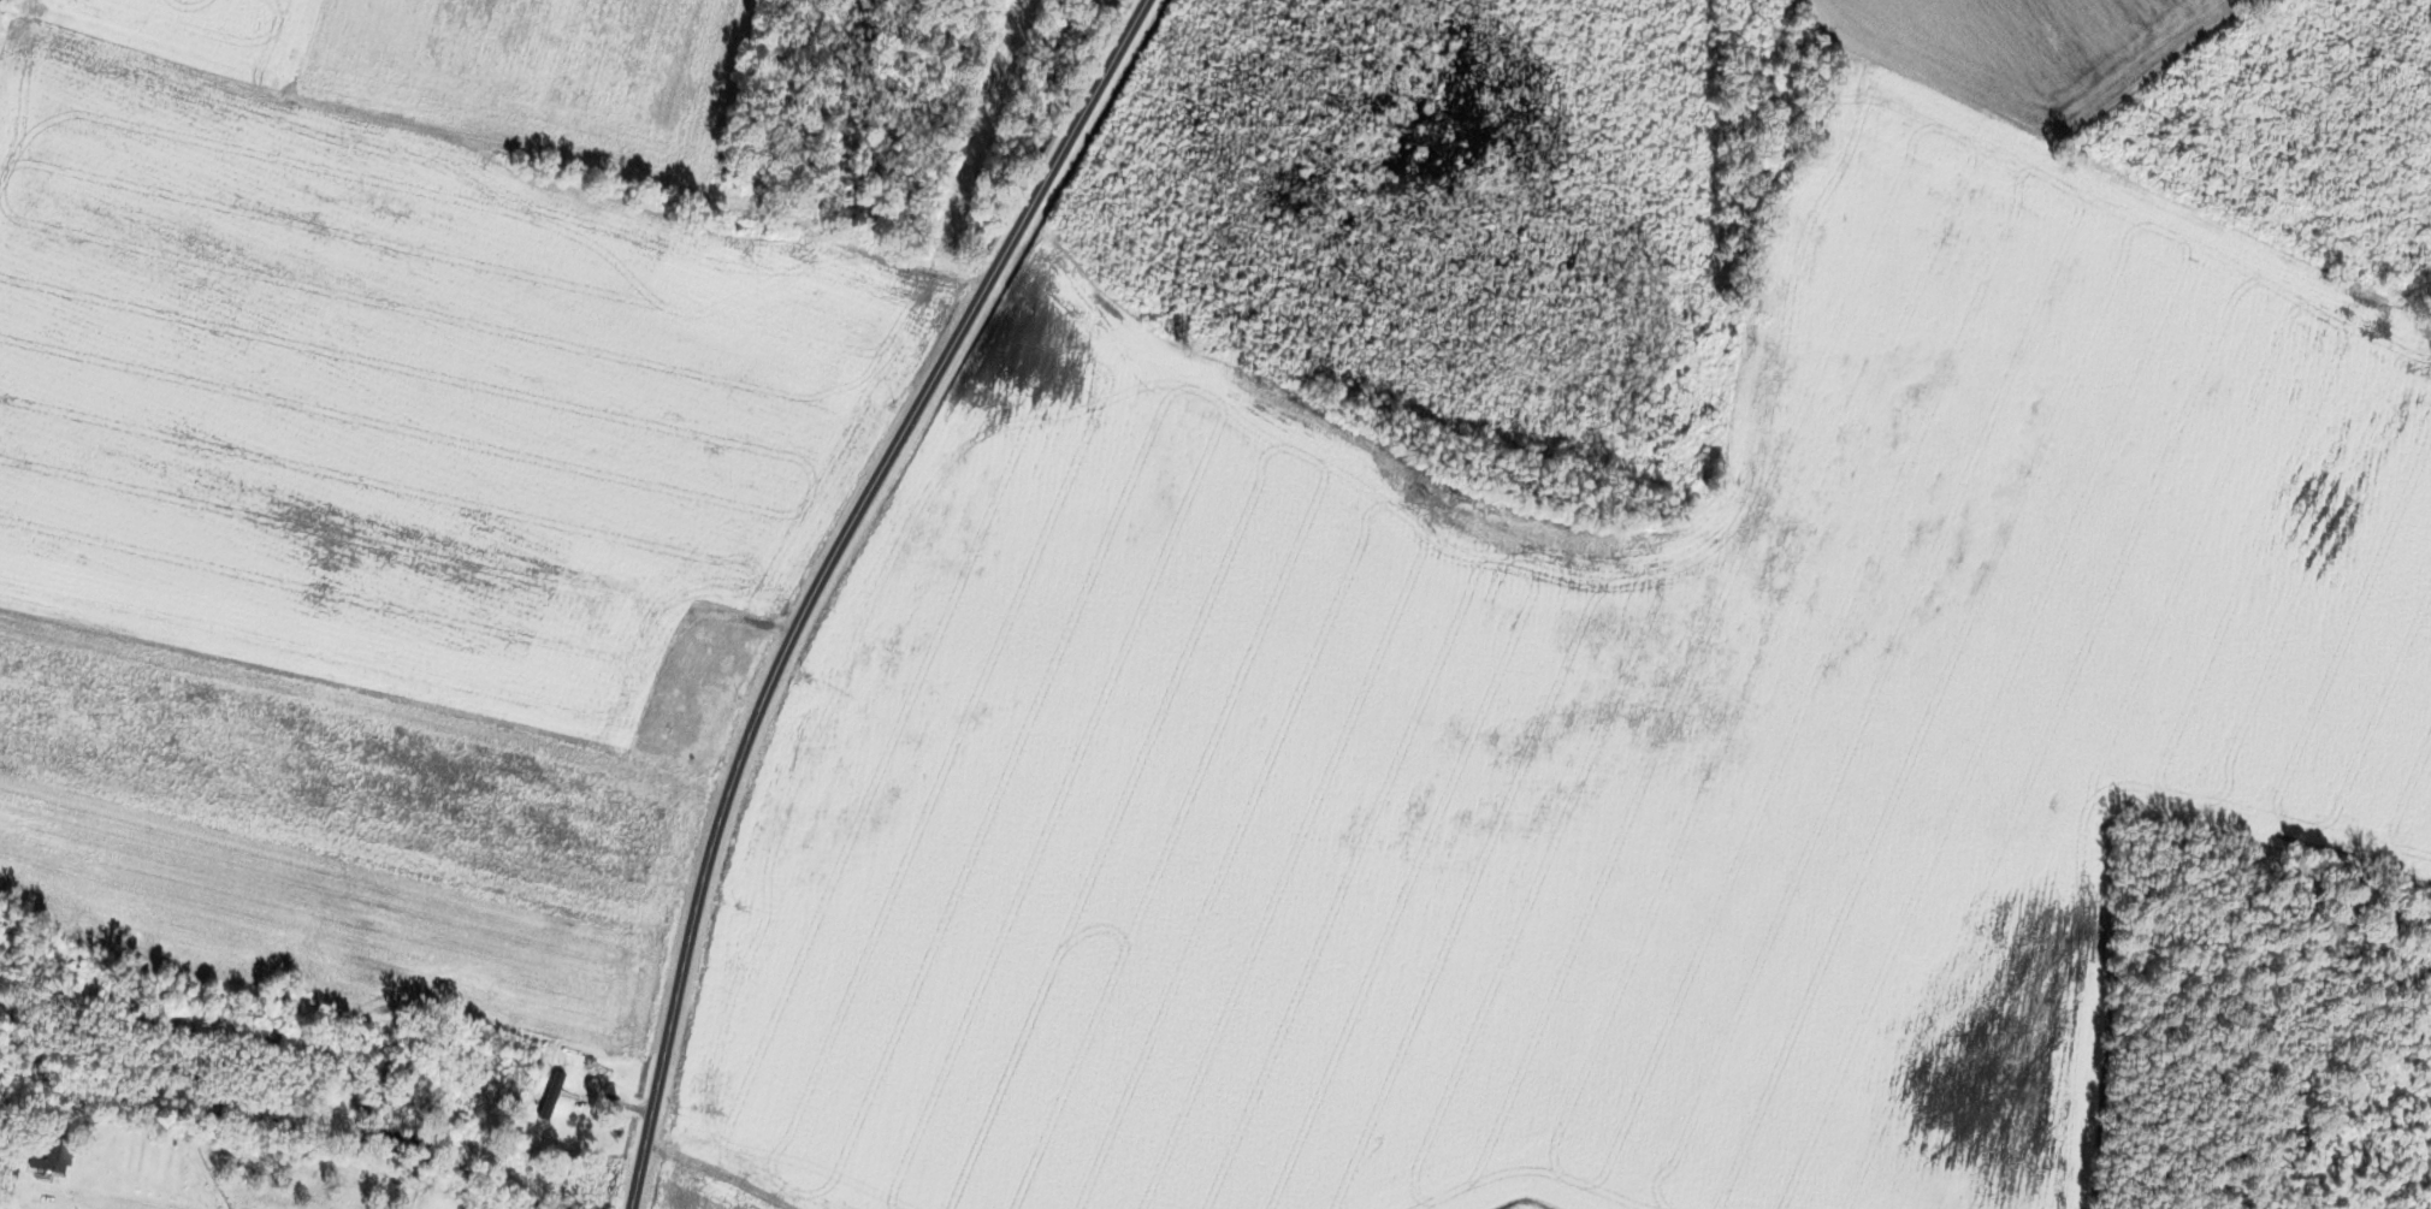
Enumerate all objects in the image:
road: (820, 577)
building: (691, 646)
building: (666, 718)
road: (1200, 774)
road: (1628, 782)
building: (514, 1072)
building: (550, 1096)
building: (49, 1152)
road: (704, 1178)
road: (141, 1204)

